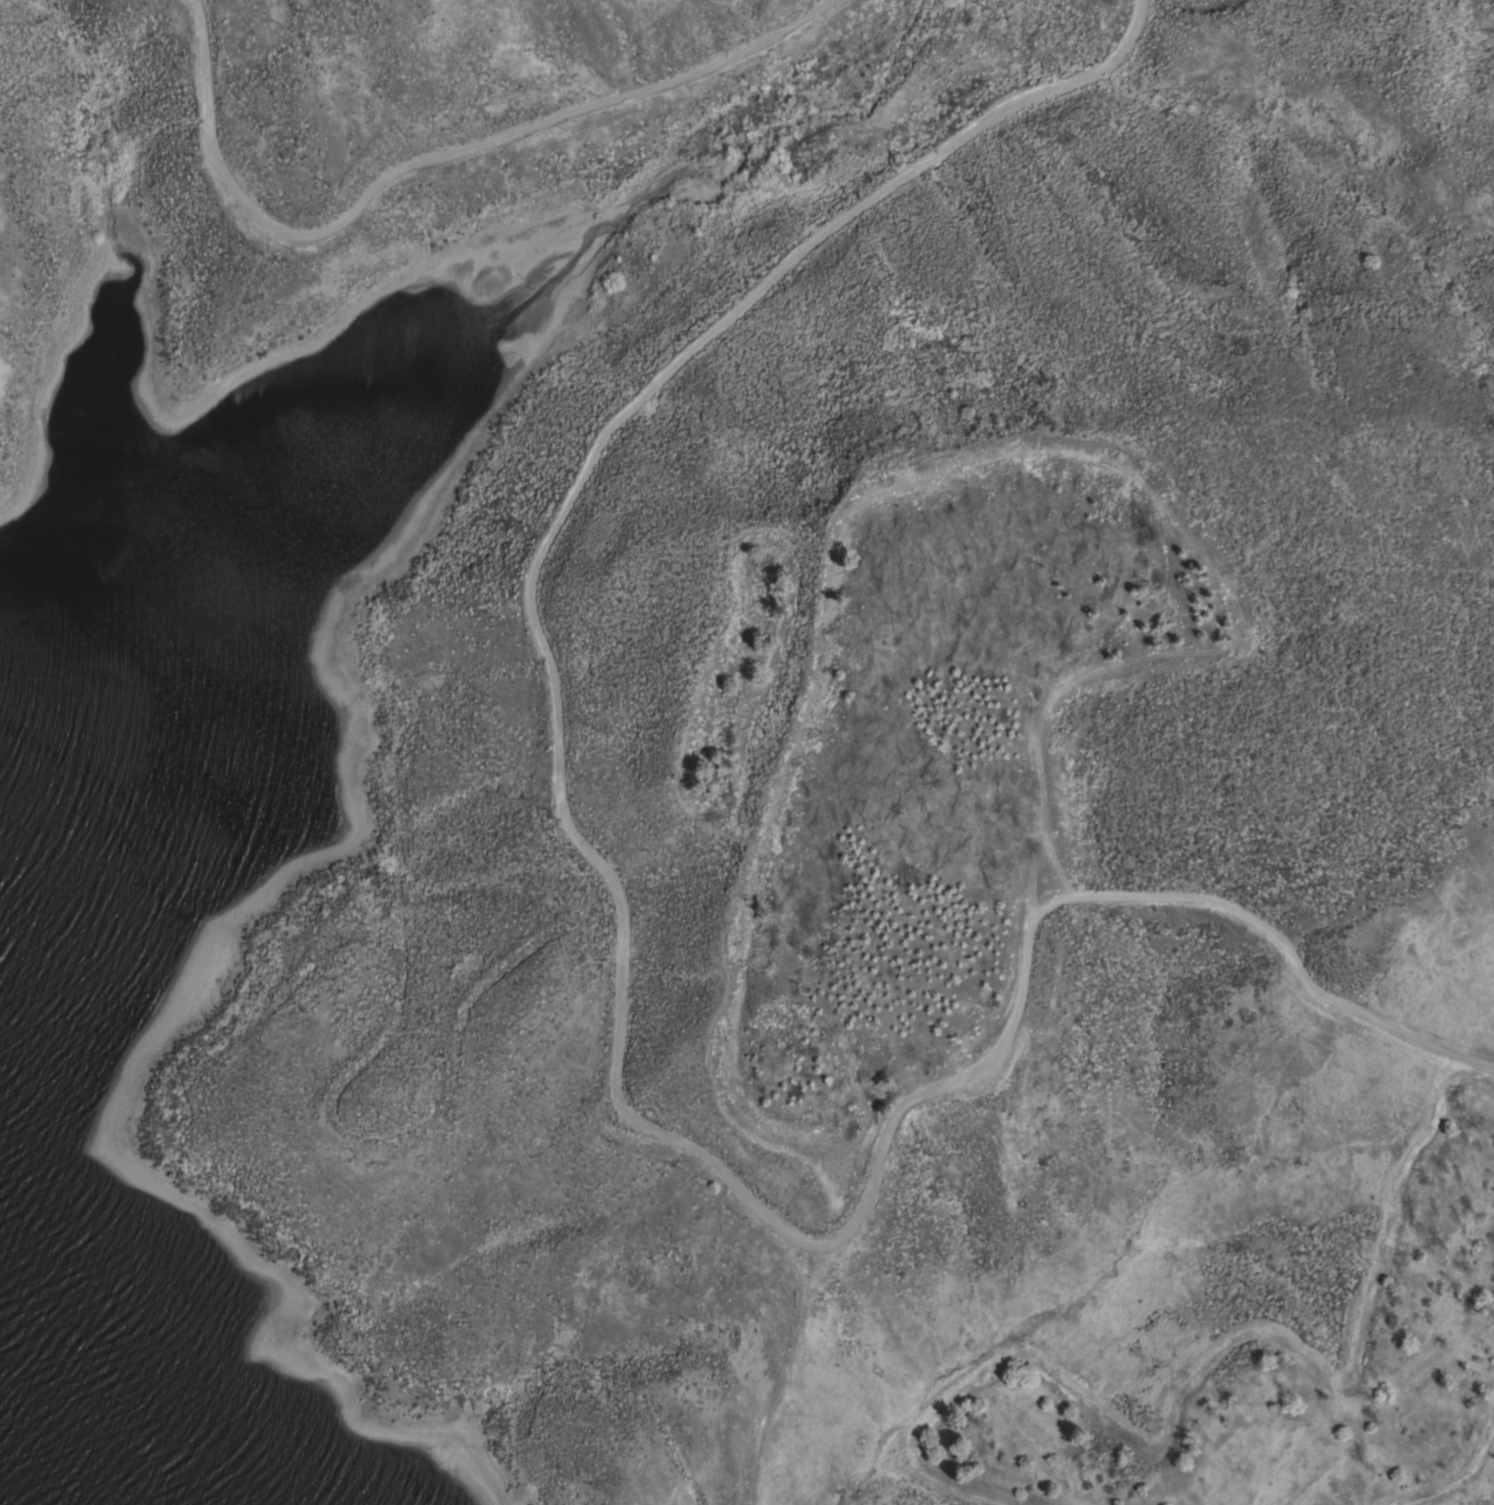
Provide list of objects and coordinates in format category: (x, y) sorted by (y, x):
road: (610, 93)
road: (235, 186)
park: (485, 750)
road: (619, 997)

